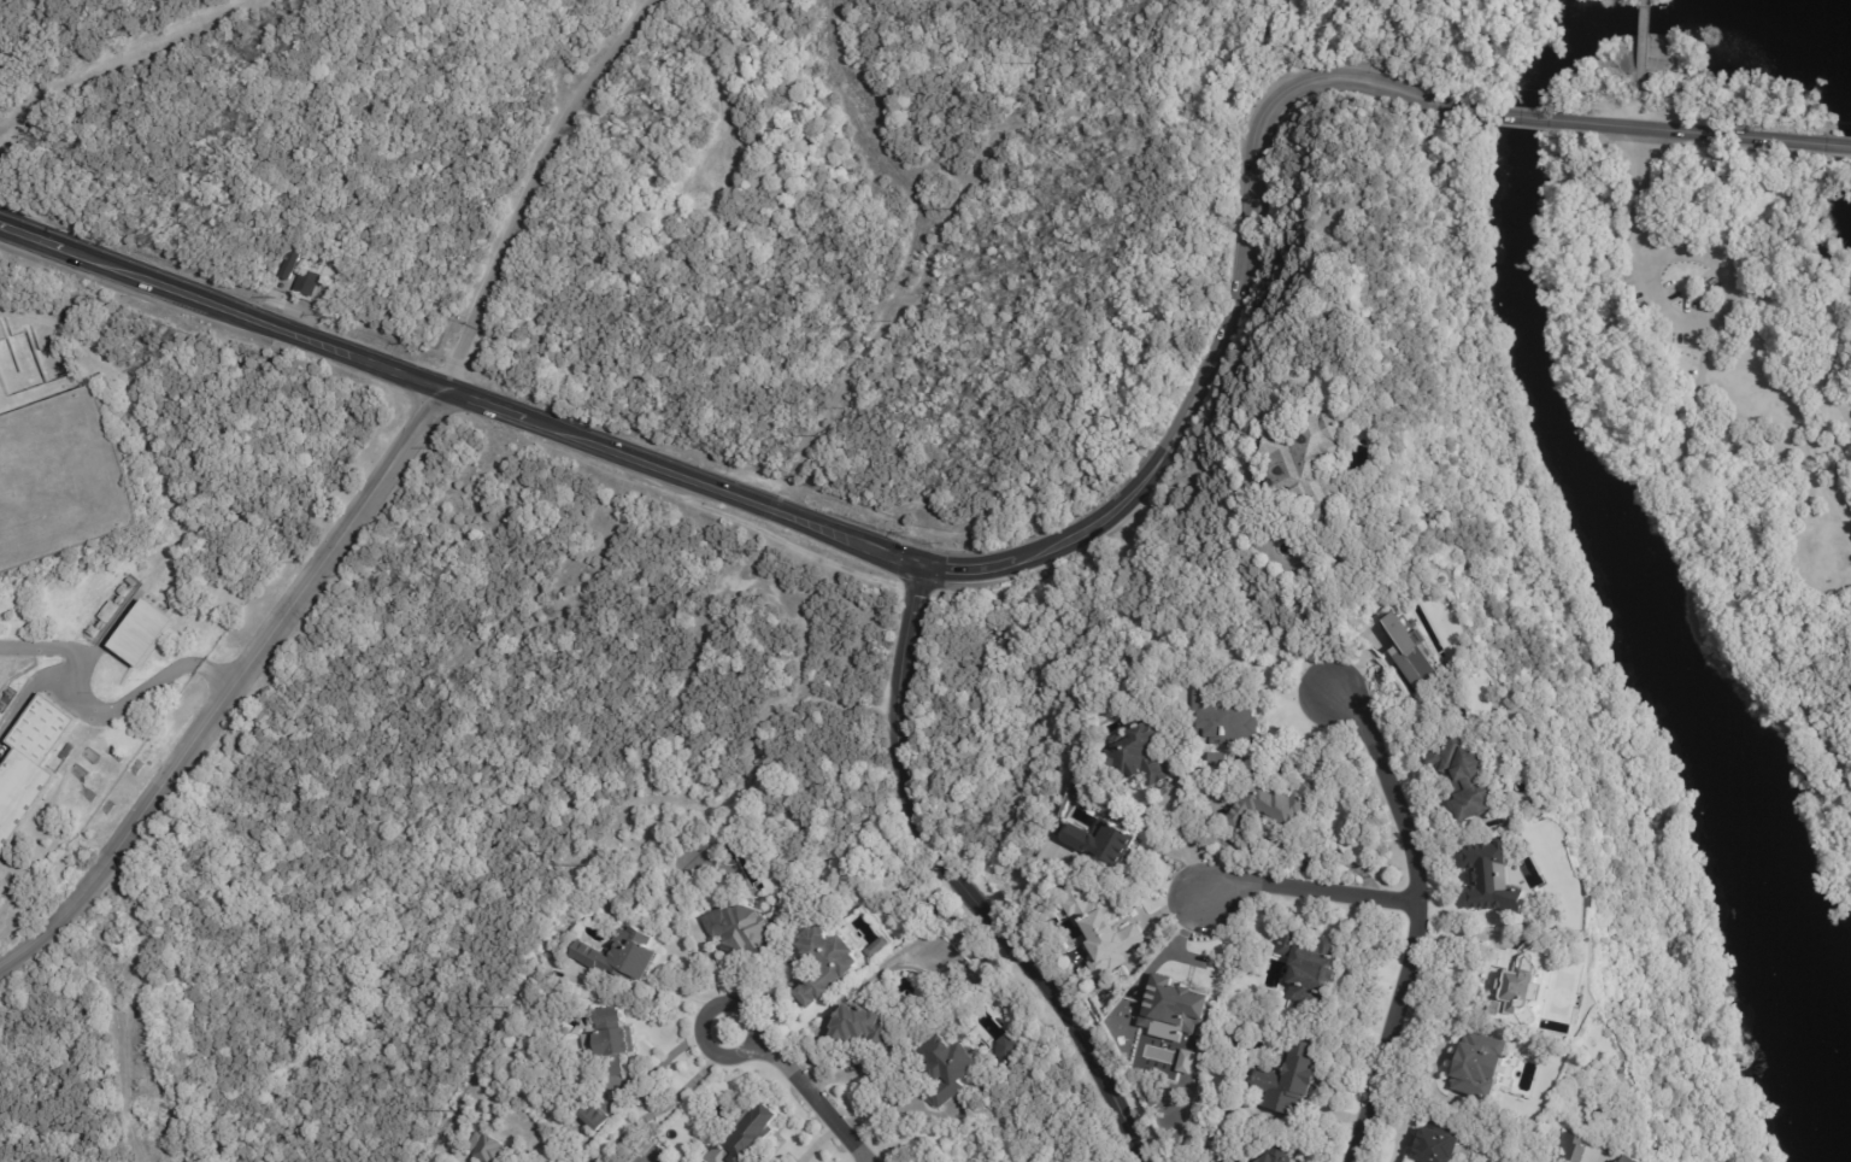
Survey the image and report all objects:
road: (1644, 4)
road: (1643, 22)
road: (119, 58)
road: (1542, 119)
road: (1697, 133)
road: (1824, 145)
road: (535, 187)
parking lot: (1680, 236)
building: (290, 264)
road: (1645, 268)
building: (308, 283)
road: (1233, 304)
road: (1834, 319)
parking lot: (1688, 336)
park: (1721, 372)
road: (459, 395)
building: (1381, 427)
road: (1775, 450)
building: (1314, 459)
road: (1831, 520)
wastewater plant: (137, 554)
road: (1723, 562)
road: (1803, 573)
building: (131, 581)
building: (124, 589)
building: (111, 611)
road: (1329, 622)
building: (146, 632)
building: (94, 633)
building: (1417, 653)
road: (1357, 663)
road: (235, 689)
building: (10, 694)
building: (2, 706)
road: (104, 711)
building: (1217, 720)
building: (70, 751)
building: (1135, 756)
building: (1214, 761)
building: (33, 765)
building: (1459, 776)
building: (1269, 806)
building: (1100, 840)
road: (1187, 846)
building: (1489, 878)
road: (953, 881)
road: (1306, 891)
road: (1417, 919)
building: (745, 929)
building: (1097, 931)
building: (877, 946)
building: (883, 946)
building: (621, 955)
building: (830, 964)
building: (1306, 967)
road: (717, 978)
building: (1515, 981)
building: (1162, 1007)
building: (862, 1023)
building: (613, 1040)
building: (1012, 1047)
building: (954, 1068)
building: (1476, 1070)
building: (1287, 1080)
road: (803, 1088)
road: (669, 1103)
building: (1597, 1114)
building: (597, 1116)
building: (1271, 1116)
building: (751, 1139)
building: (1438, 1142)
road: (813, 1143)
building: (488, 1149)
building: (1568, 1149)
building: (1273, 1157)
building: (1624, 1160)
building: (1218, 1161)
building: (1233, 1161)
building: (1616, 1161)

